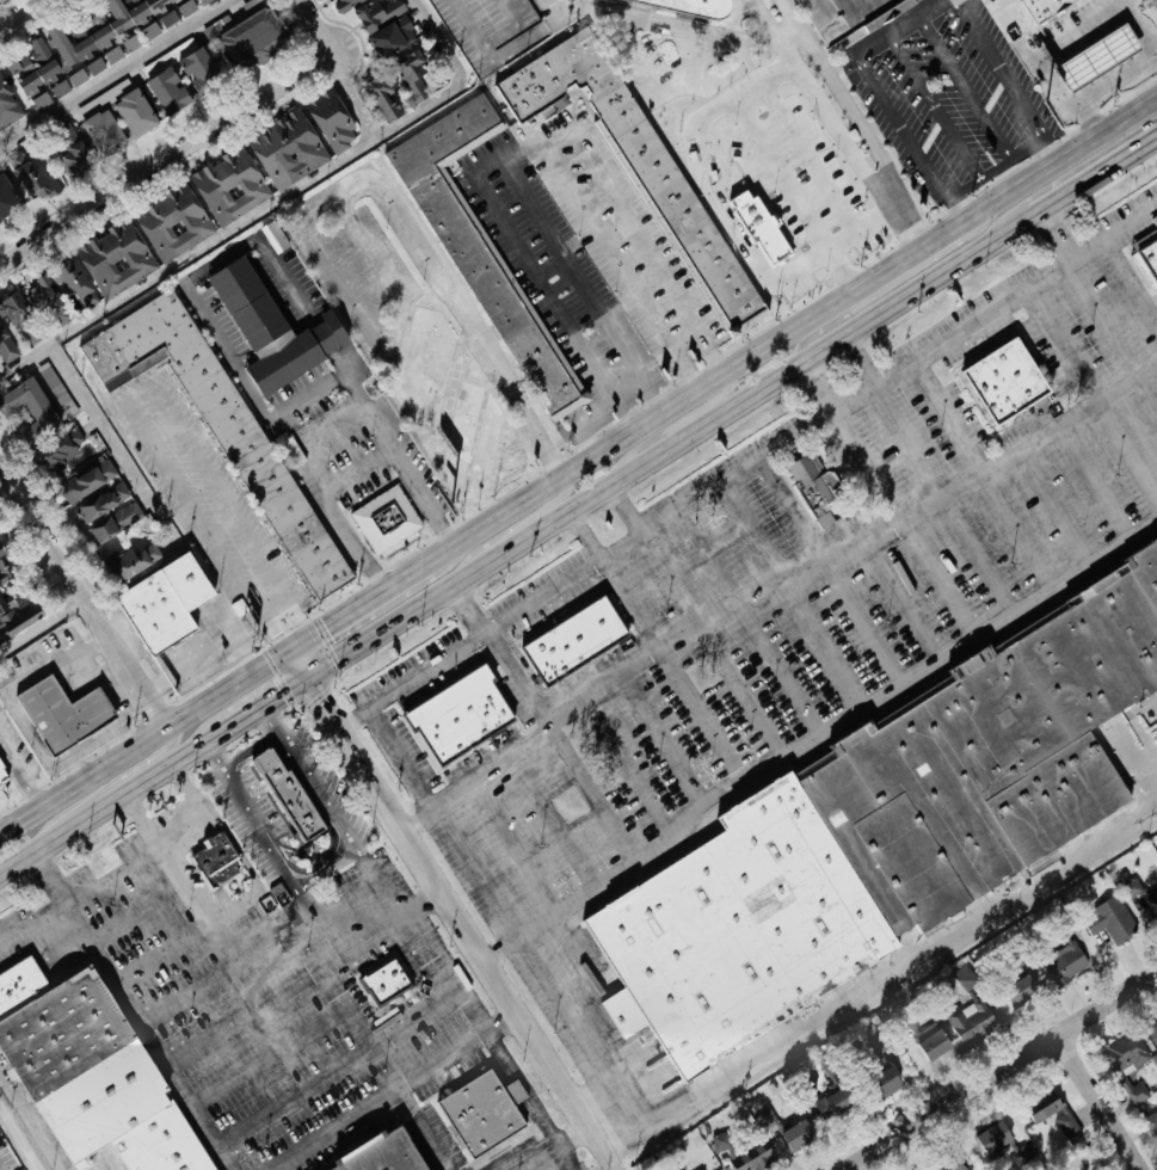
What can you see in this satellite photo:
building: (172, 0)
building: (203, 0)
road: (565, 2)
building: (344, 4)
building: (187, 6)
building: (687, 6)
building: (1042, 7)
road: (19, 12)
building: (377, 12)
building: (833, 13)
building: (170, 18)
road: (794, 18)
building: (100, 27)
building: (152, 29)
building: (253, 33)
building: (392, 36)
road: (693, 39)
building: (133, 42)
road: (747, 42)
road: (1045, 49)
building: (1095, 49)
gas station: (1095, 49)
building: (113, 53)
road: (995, 70)
building: (45, 72)
road: (113, 72)
road: (1128, 72)
building: (181, 78)
building: (412, 78)
road: (875, 84)
road: (967, 86)
building: (59, 87)
road: (349, 94)
building: (383, 94)
road: (937, 105)
building: (7, 106)
building: (112, 117)
building: (330, 119)
road: (867, 140)
road: (186, 141)
building: (285, 148)
building: (66, 149)
road: (1045, 153)
building: (635, 159)
road: (501, 160)
building: (32, 173)
road: (1096, 176)
road: (984, 177)
building: (228, 186)
building: (6, 201)
road: (267, 203)
building: (171, 222)
building: (272, 236)
building: (472, 238)
road: (650, 247)
road: (613, 250)
building: (1146, 252)
building: (113, 259)
road: (1130, 278)
road: (885, 283)
building: (73, 284)
road: (1088, 288)
building: (47, 302)
building: (12, 308)
road: (794, 327)
building: (264, 328)
road: (482, 344)
road: (860, 359)
building: (1001, 382)
road: (818, 384)
building: (48, 388)
road: (1095, 389)
road: (141, 390)
road: (628, 390)
building: (438, 400)
road: (278, 410)
building: (27, 412)
road: (623, 415)
road: (820, 415)
road: (583, 420)
road: (671, 424)
building: (216, 426)
road: (106, 437)
road: (670, 444)
building: (66, 464)
road: (984, 473)
road: (1090, 480)
building: (814, 487)
road: (423, 495)
road: (943, 498)
building: (100, 501)
road: (919, 501)
road: (1054, 503)
road: (628, 505)
road: (331, 506)
road: (236, 512)
building: (383, 519)
road: (909, 519)
building: (113, 522)
road: (208, 524)
road: (511, 528)
road: (584, 532)
building: (0, 552)
building: (130, 561)
road: (835, 568)
road: (899, 601)
road: (359, 603)
road: (84, 604)
building: (155, 604)
building: (14, 610)
road: (751, 622)
traffic signals: (276, 626)
road: (42, 627)
traffic signals: (321, 628)
building: (570, 638)
road: (715, 645)
road: (827, 646)
road: (672, 671)
road: (99, 673)
road: (412, 679)
road: (13, 686)
road: (228, 688)
traffic signals: (285, 690)
traffic signals: (314, 691)
road: (604, 695)
road: (265, 702)
building: (56, 710)
road: (128, 712)
building: (457, 715)
road: (836, 727)
road: (87, 741)
road: (667, 745)
road: (402, 757)
road: (103, 766)
road: (633, 768)
road: (19, 774)
building: (1, 778)
road: (105, 784)
road: (319, 784)
building: (282, 793)
road: (112, 800)
road: (203, 809)
road: (417, 817)
road: (554, 817)
road: (19, 823)
road: (259, 826)
building: (878, 827)
road: (1, 835)
road: (455, 837)
building: (210, 854)
road: (136, 856)
road: (252, 869)
road: (51, 875)
road: (184, 882)
building: (1130, 887)
road: (344, 893)
road: (547, 899)
building: (1152, 905)
road: (450, 910)
road: (130, 918)
building: (1108, 920)
road: (497, 944)
road: (162, 953)
building: (1061, 961)
road: (227, 969)
road: (900, 969)
road: (301, 974)
building: (382, 978)
building: (1017, 991)
road: (129, 1004)
road: (345, 1004)
road: (467, 1009)
building: (968, 1021)
road: (394, 1030)
building: (1152, 1033)
building: (930, 1042)
road: (457, 1048)
road: (270, 1055)
building: (1124, 1058)
road: (999, 1070)
building: (86, 1074)
road: (525, 1085)
building: (1136, 1094)
road: (377, 1100)
road: (1097, 1102)
building: (831, 1106)
building: (478, 1111)
building: (1050, 1111)
building: (1149, 1121)
road: (577, 1129)
building: (795, 1137)
building: (991, 1139)
road: (18, 1140)
building: (722, 1146)
building: (376, 1153)
building: (753, 1160)
building: (952, 1165)

